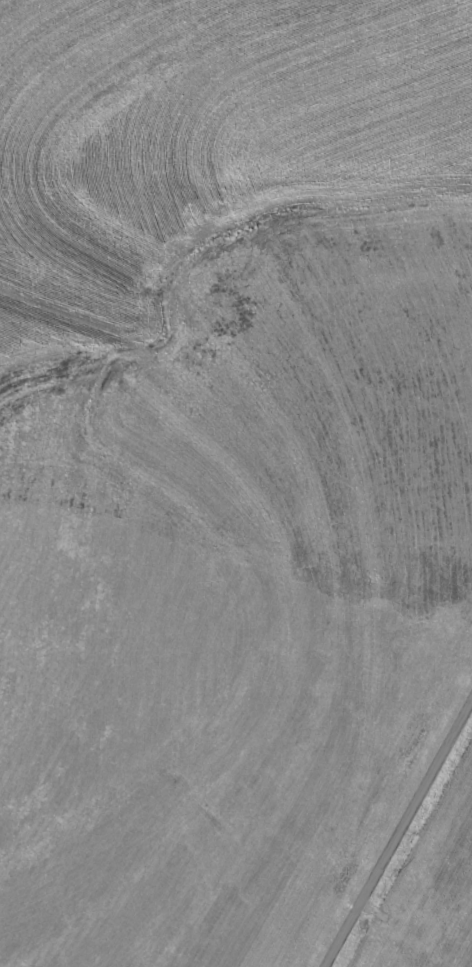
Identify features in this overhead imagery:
road: (397, 829)

